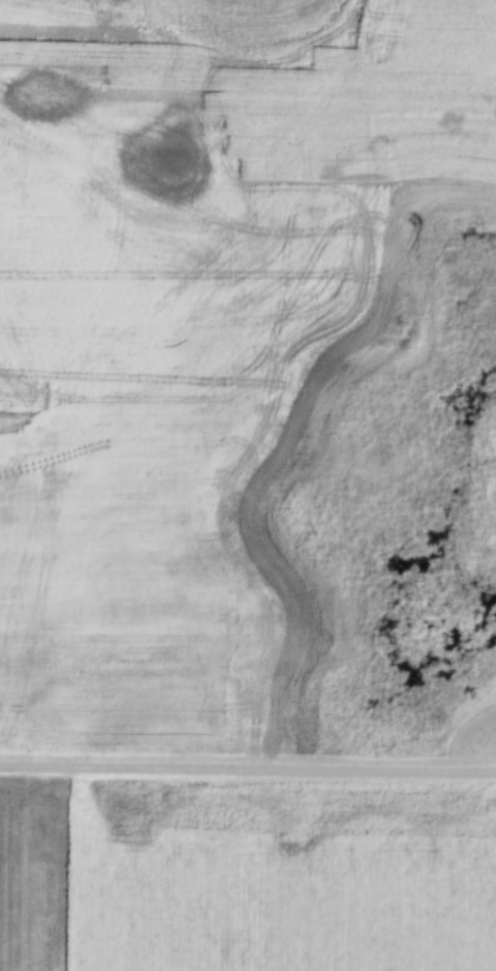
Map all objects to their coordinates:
road: (247, 772)

